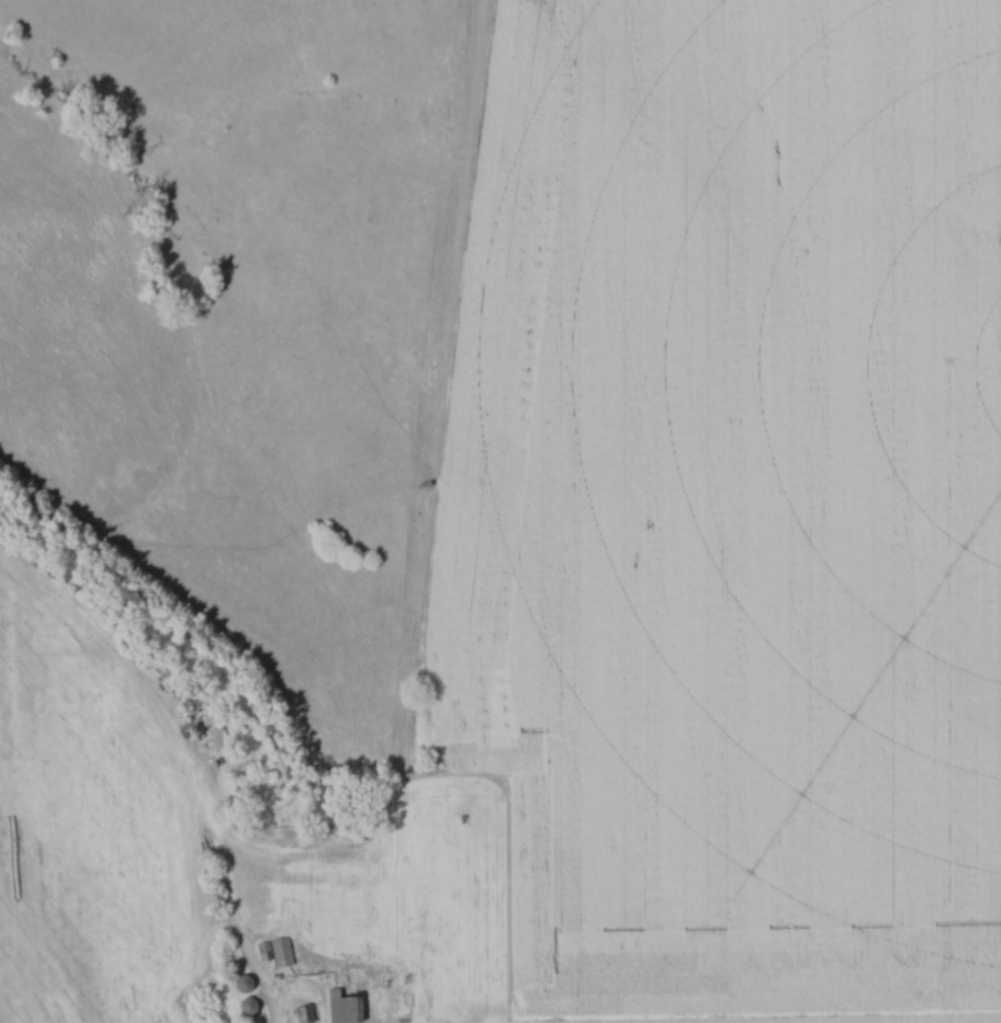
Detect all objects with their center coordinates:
crop: (90, 827)
building: (277, 950)
building: (343, 1006)
road: (742, 1016)

